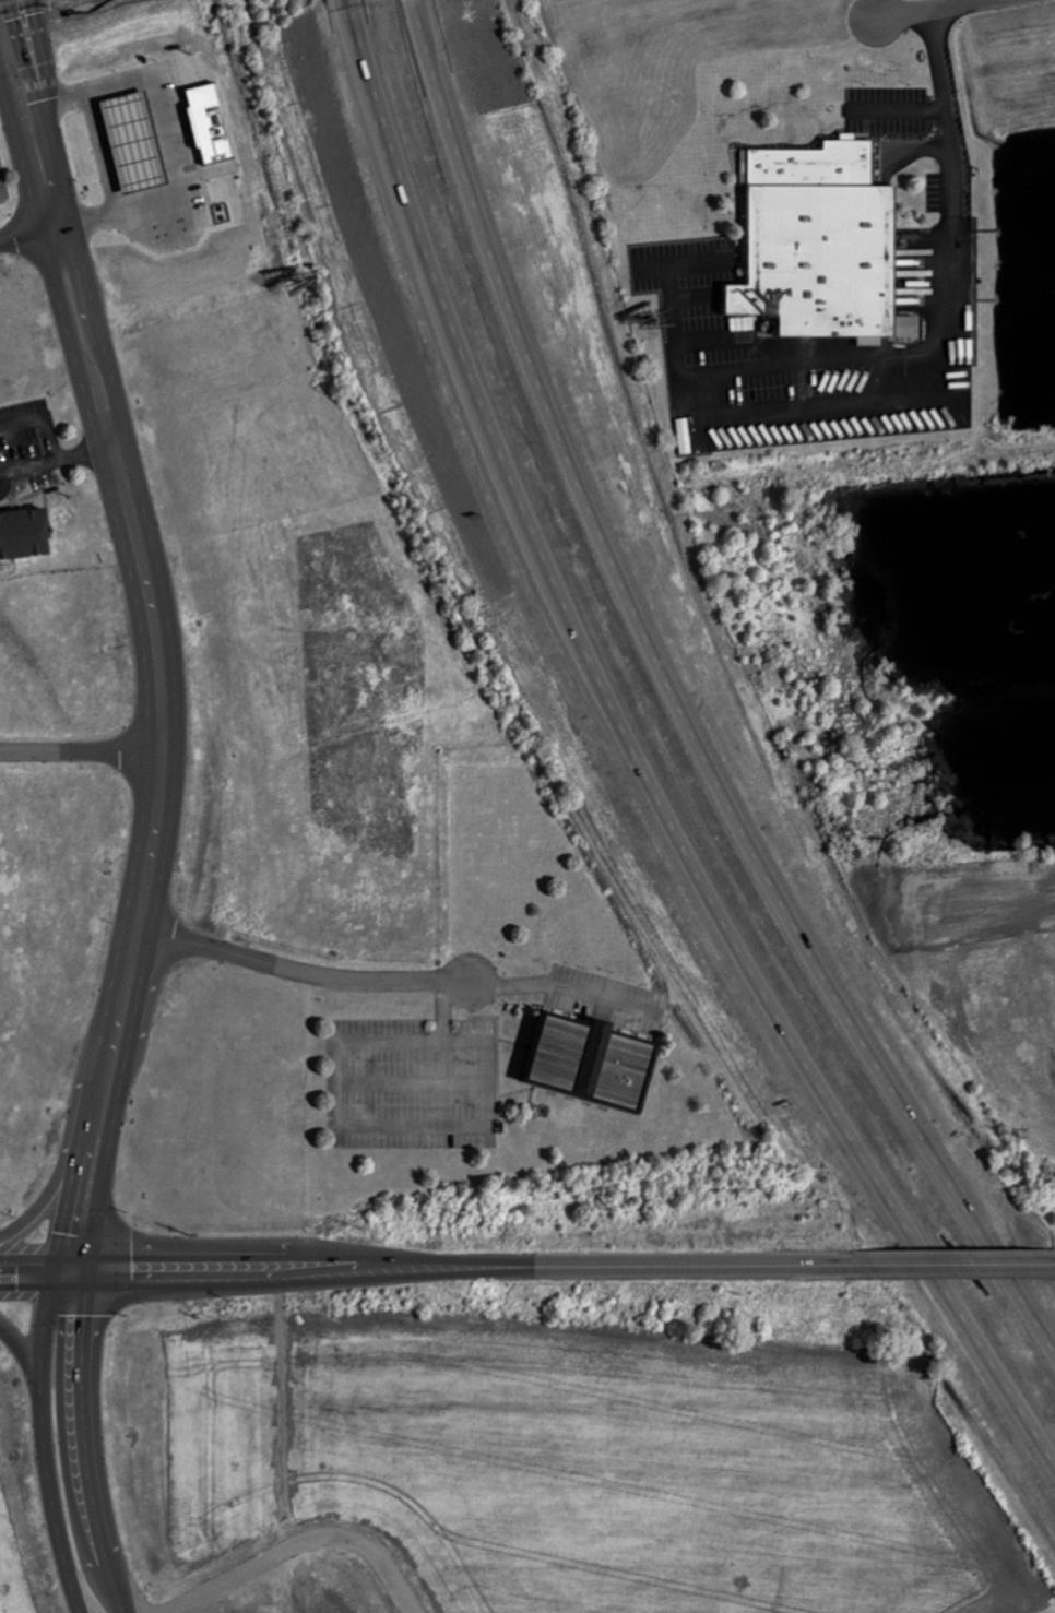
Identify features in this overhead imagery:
railway: (11, 2)
road: (932, 10)
traffic signals: (28, 16)
road: (3, 71)
road: (32, 72)
road: (19, 97)
road: (948, 104)
road: (398, 175)
road: (47, 185)
road: (28, 233)
building: (823, 244)
road: (100, 333)
road: (71, 342)
road: (40, 420)
road: (84, 454)
road: (26, 464)
building: (23, 533)
road: (676, 700)
road: (81, 751)
road: (150, 862)
road: (723, 921)
road: (301, 971)
road: (561, 985)
road: (438, 1051)
building: (593, 1065)
road: (963, 1264)
road: (436, 1267)
traffic signals: (68, 1271)
road: (46, 1440)
road: (87, 1442)

